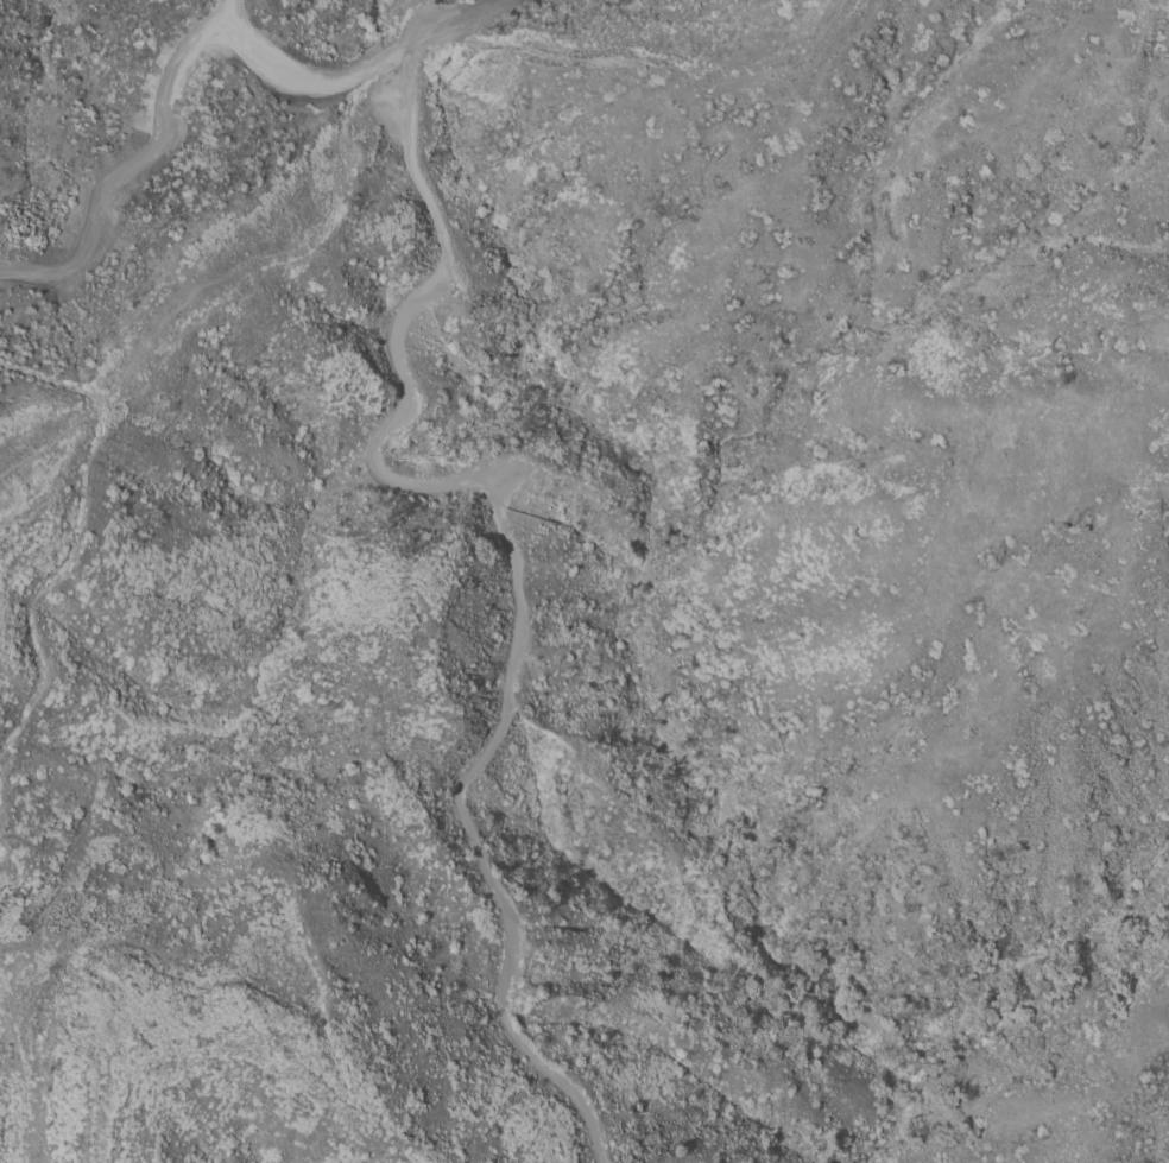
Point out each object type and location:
road: (455, 19)
road: (425, 27)
road: (169, 72)
road: (80, 529)
road: (511, 549)
road: (26, 1082)

